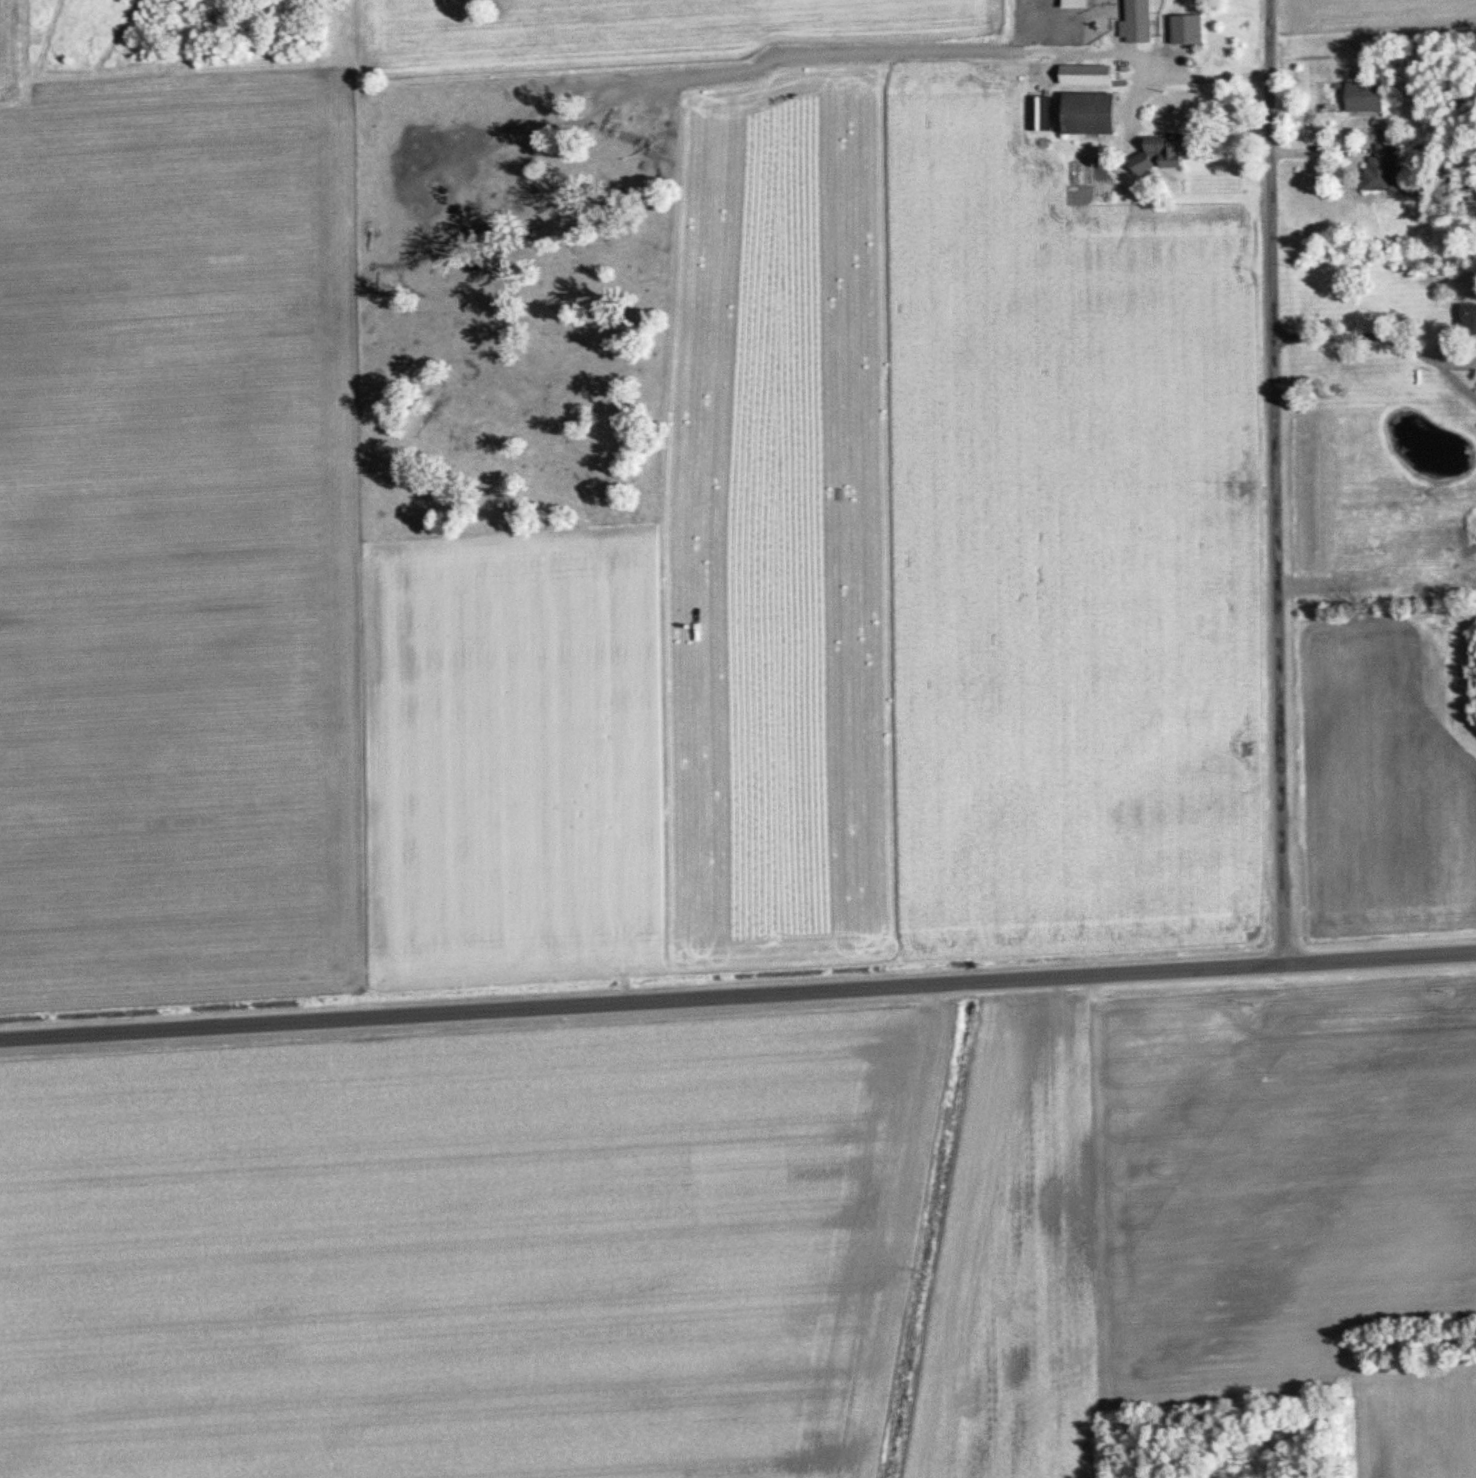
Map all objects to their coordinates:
building: (1081, 4)
building: (1141, 22)
building: (1193, 28)
building: (1091, 74)
road: (1182, 75)
building: (1369, 96)
building: (1096, 113)
building: (1167, 153)
building: (1386, 168)
building: (1472, 320)
road: (1357, 333)
road: (1457, 359)
road: (1455, 381)
road: (1274, 483)
road: (738, 997)

